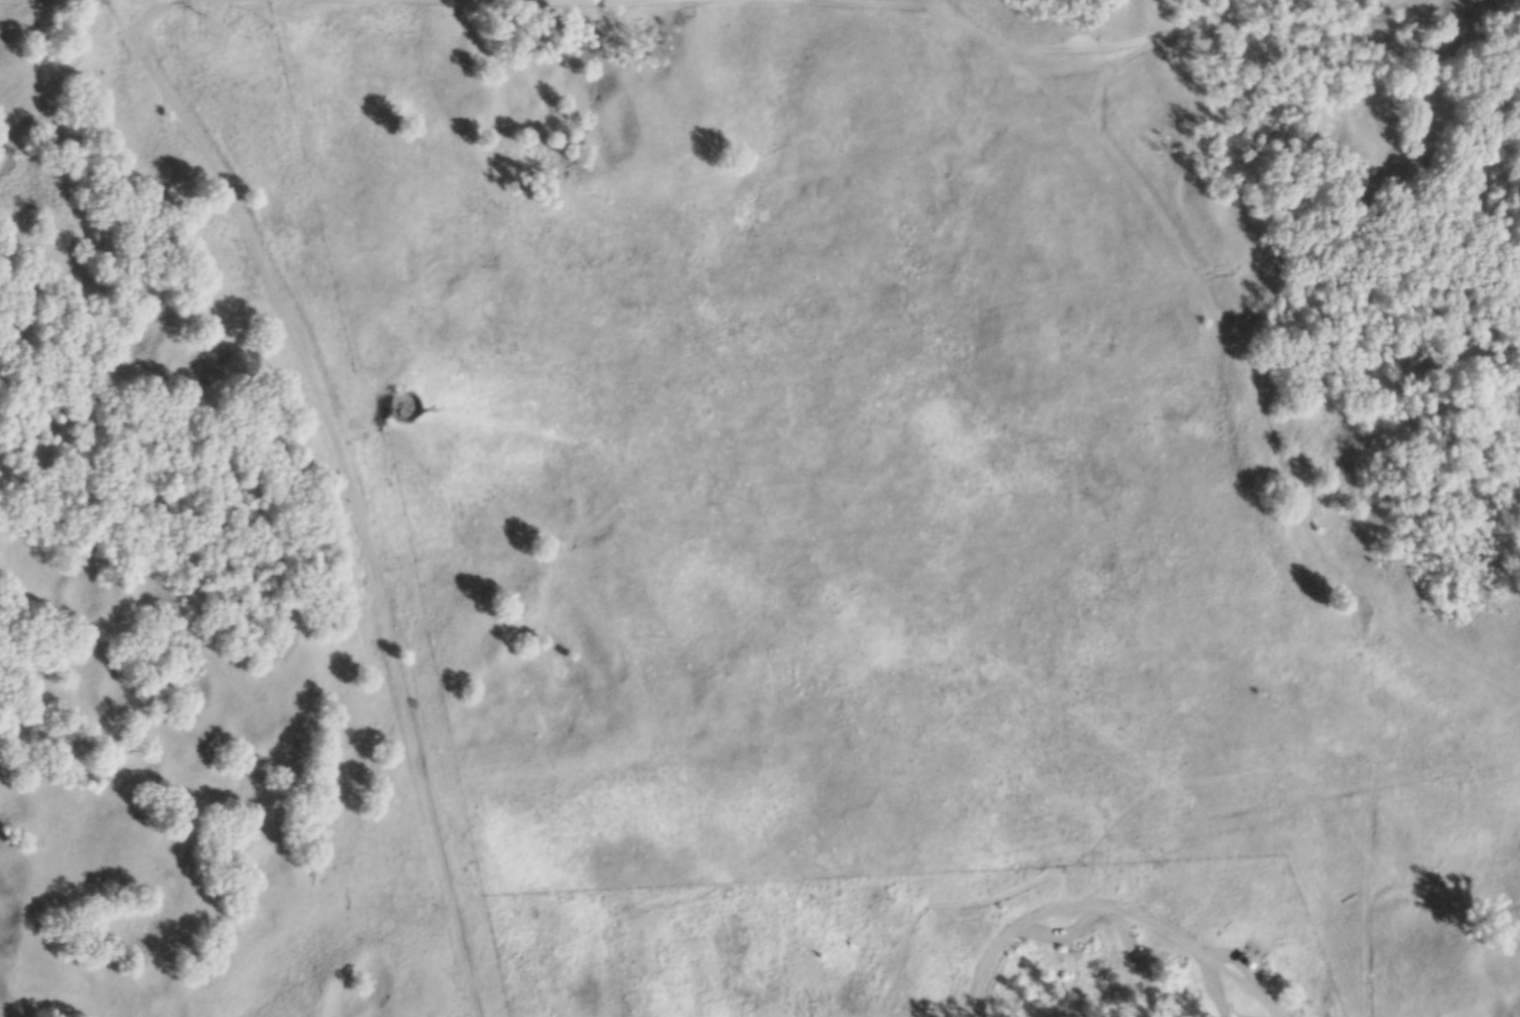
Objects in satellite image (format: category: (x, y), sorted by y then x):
road: (492, 1)
road: (147, 12)
road: (1035, 51)
road: (352, 484)
road: (1174, 783)
road: (1106, 909)

